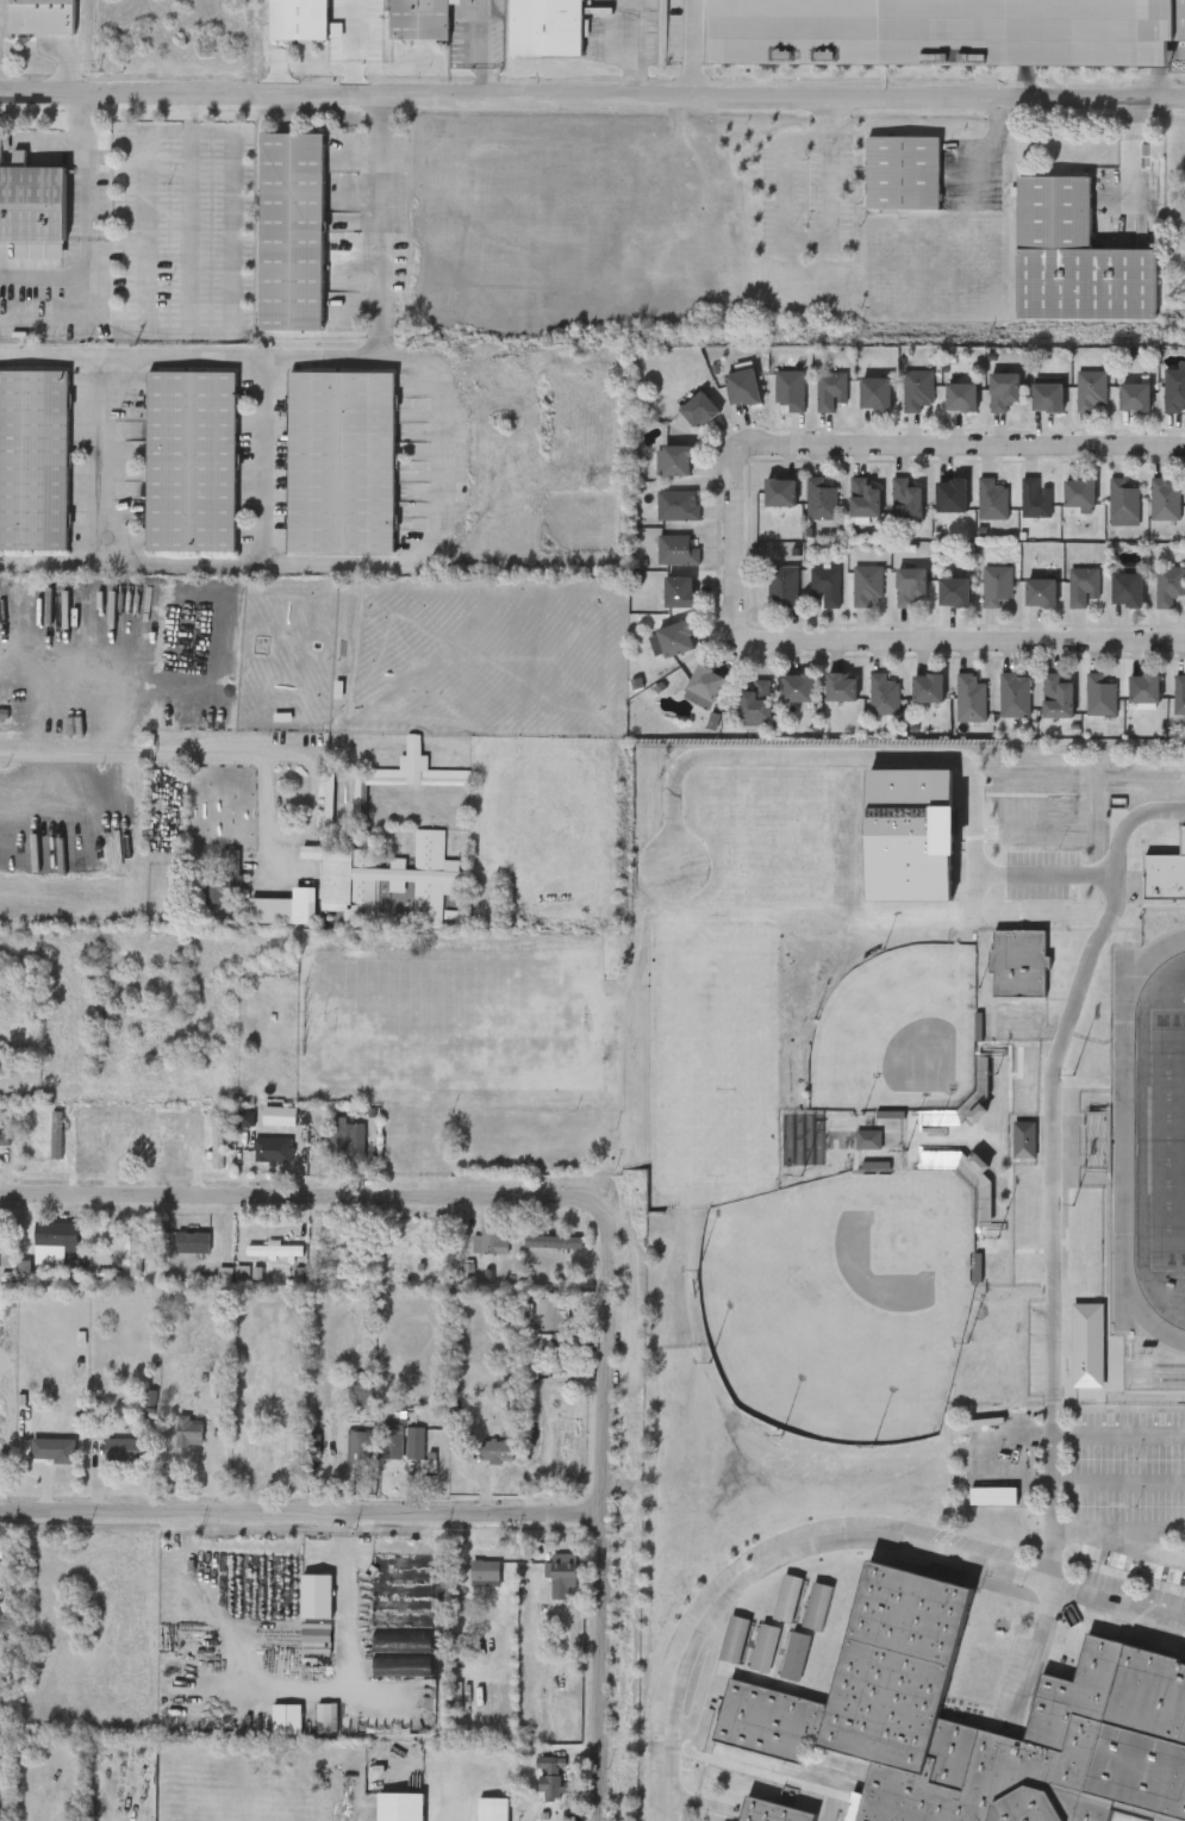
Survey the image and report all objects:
building: (44, 15)
building: (304, 19)
building: (419, 19)
building: (547, 26)
building: (947, 31)
road: (485, 45)
road: (632, 46)
road: (694, 46)
road: (592, 93)
building: (903, 172)
building: (32, 204)
road: (785, 217)
road: (381, 225)
building: (293, 229)
road: (82, 247)
building: (1075, 257)
road: (40, 274)
road: (113, 333)
road: (170, 333)
road: (369, 358)
building: (742, 387)
building: (1175, 388)
building: (791, 389)
building: (919, 389)
building: (1092, 389)
building: (831, 391)
building: (1004, 391)
building: (875, 394)
building: (961, 397)
building: (1048, 397)
building: (1135, 397)
road: (100, 410)
building: (699, 411)
road: (965, 453)
building: (35, 457)
building: (193, 460)
road: (263, 460)
building: (343, 460)
building: (674, 461)
building: (780, 493)
building: (1080, 493)
building: (952, 495)
building: (1037, 498)
building: (822, 499)
building: (863, 499)
building: (993, 499)
building: (1167, 499)
building: (906, 501)
building: (1125, 503)
building: (679, 505)
building: (678, 549)
road: (208, 561)
building: (867, 585)
building: (998, 585)
building: (784, 586)
building: (827, 586)
building: (910, 586)
building: (1084, 586)
building: (1170, 586)
building: (1127, 591)
building: (679, 592)
building: (954, 592)
building: (1042, 592)
building: (676, 638)
road: (869, 648)
building: (705, 684)
building: (842, 687)
building: (798, 688)
building: (928, 688)
building: (1145, 688)
building: (885, 694)
building: (1016, 694)
building: (1102, 694)
building: (1180, 694)
building: (972, 697)
building: (1058, 697)
building: (756, 703)
road: (129, 752)
road: (896, 752)
building: (403, 774)
road: (311, 809)
building: (393, 873)
building: (223, 874)
building: (1166, 875)
building: (281, 908)
building: (611, 959)
building: (1019, 961)
park: (898, 1031)
building: (358, 1129)
building: (57, 1131)
building: (337, 1134)
building: (1098, 1135)
building: (5, 1136)
park: (1167, 1137)
building: (218, 1139)
track: (1134, 1139)
building: (1025, 1140)
building: (871, 1141)
building: (151, 1142)
building: (274, 1148)
road: (1052, 1165)
road: (308, 1193)
building: (56, 1233)
building: (555, 1239)
building: (192, 1240)
building: (489, 1240)
building: (344, 1242)
building: (0, 1249)
building: (137, 1249)
building: (275, 1249)
building: (576, 1273)
park: (843, 1298)
building: (555, 1309)
building: (1089, 1345)
building: (530, 1355)
road: (1010, 1428)
building: (191, 1429)
road: (1118, 1429)
building: (275, 1440)
building: (394, 1441)
building: (361, 1445)
building: (54, 1446)
building: (418, 1446)
building: (127, 1447)
building: (498, 1448)
road: (1118, 1480)
road: (303, 1513)
road: (607, 1516)
road: (1146, 1530)
road: (1118, 1542)
road: (835, 1545)
road: (342, 1559)
building: (486, 1569)
building: (563, 1574)
building: (788, 1595)
building: (818, 1603)
building: (736, 1636)
building: (766, 1644)
building: (796, 1653)
road: (1034, 1657)
building: (1111, 1691)
building: (551, 1776)
building: (791, 1794)
road: (451, 1800)
building: (399, 1804)
building: (492, 1807)
building: (773, 1810)
building: (73, 1819)

